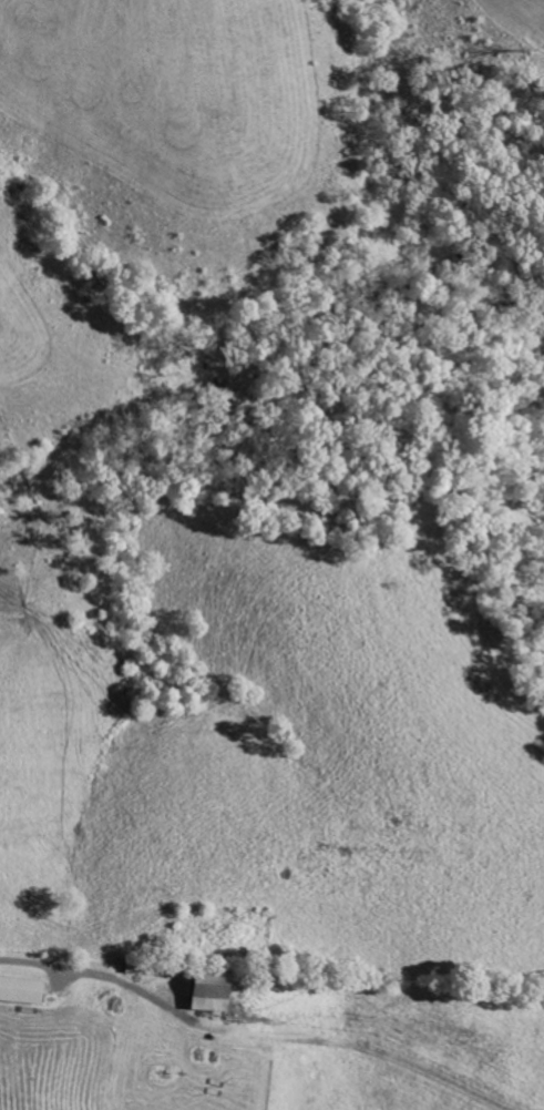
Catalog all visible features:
road: (99, 971)
building: (19, 990)
building: (206, 991)

